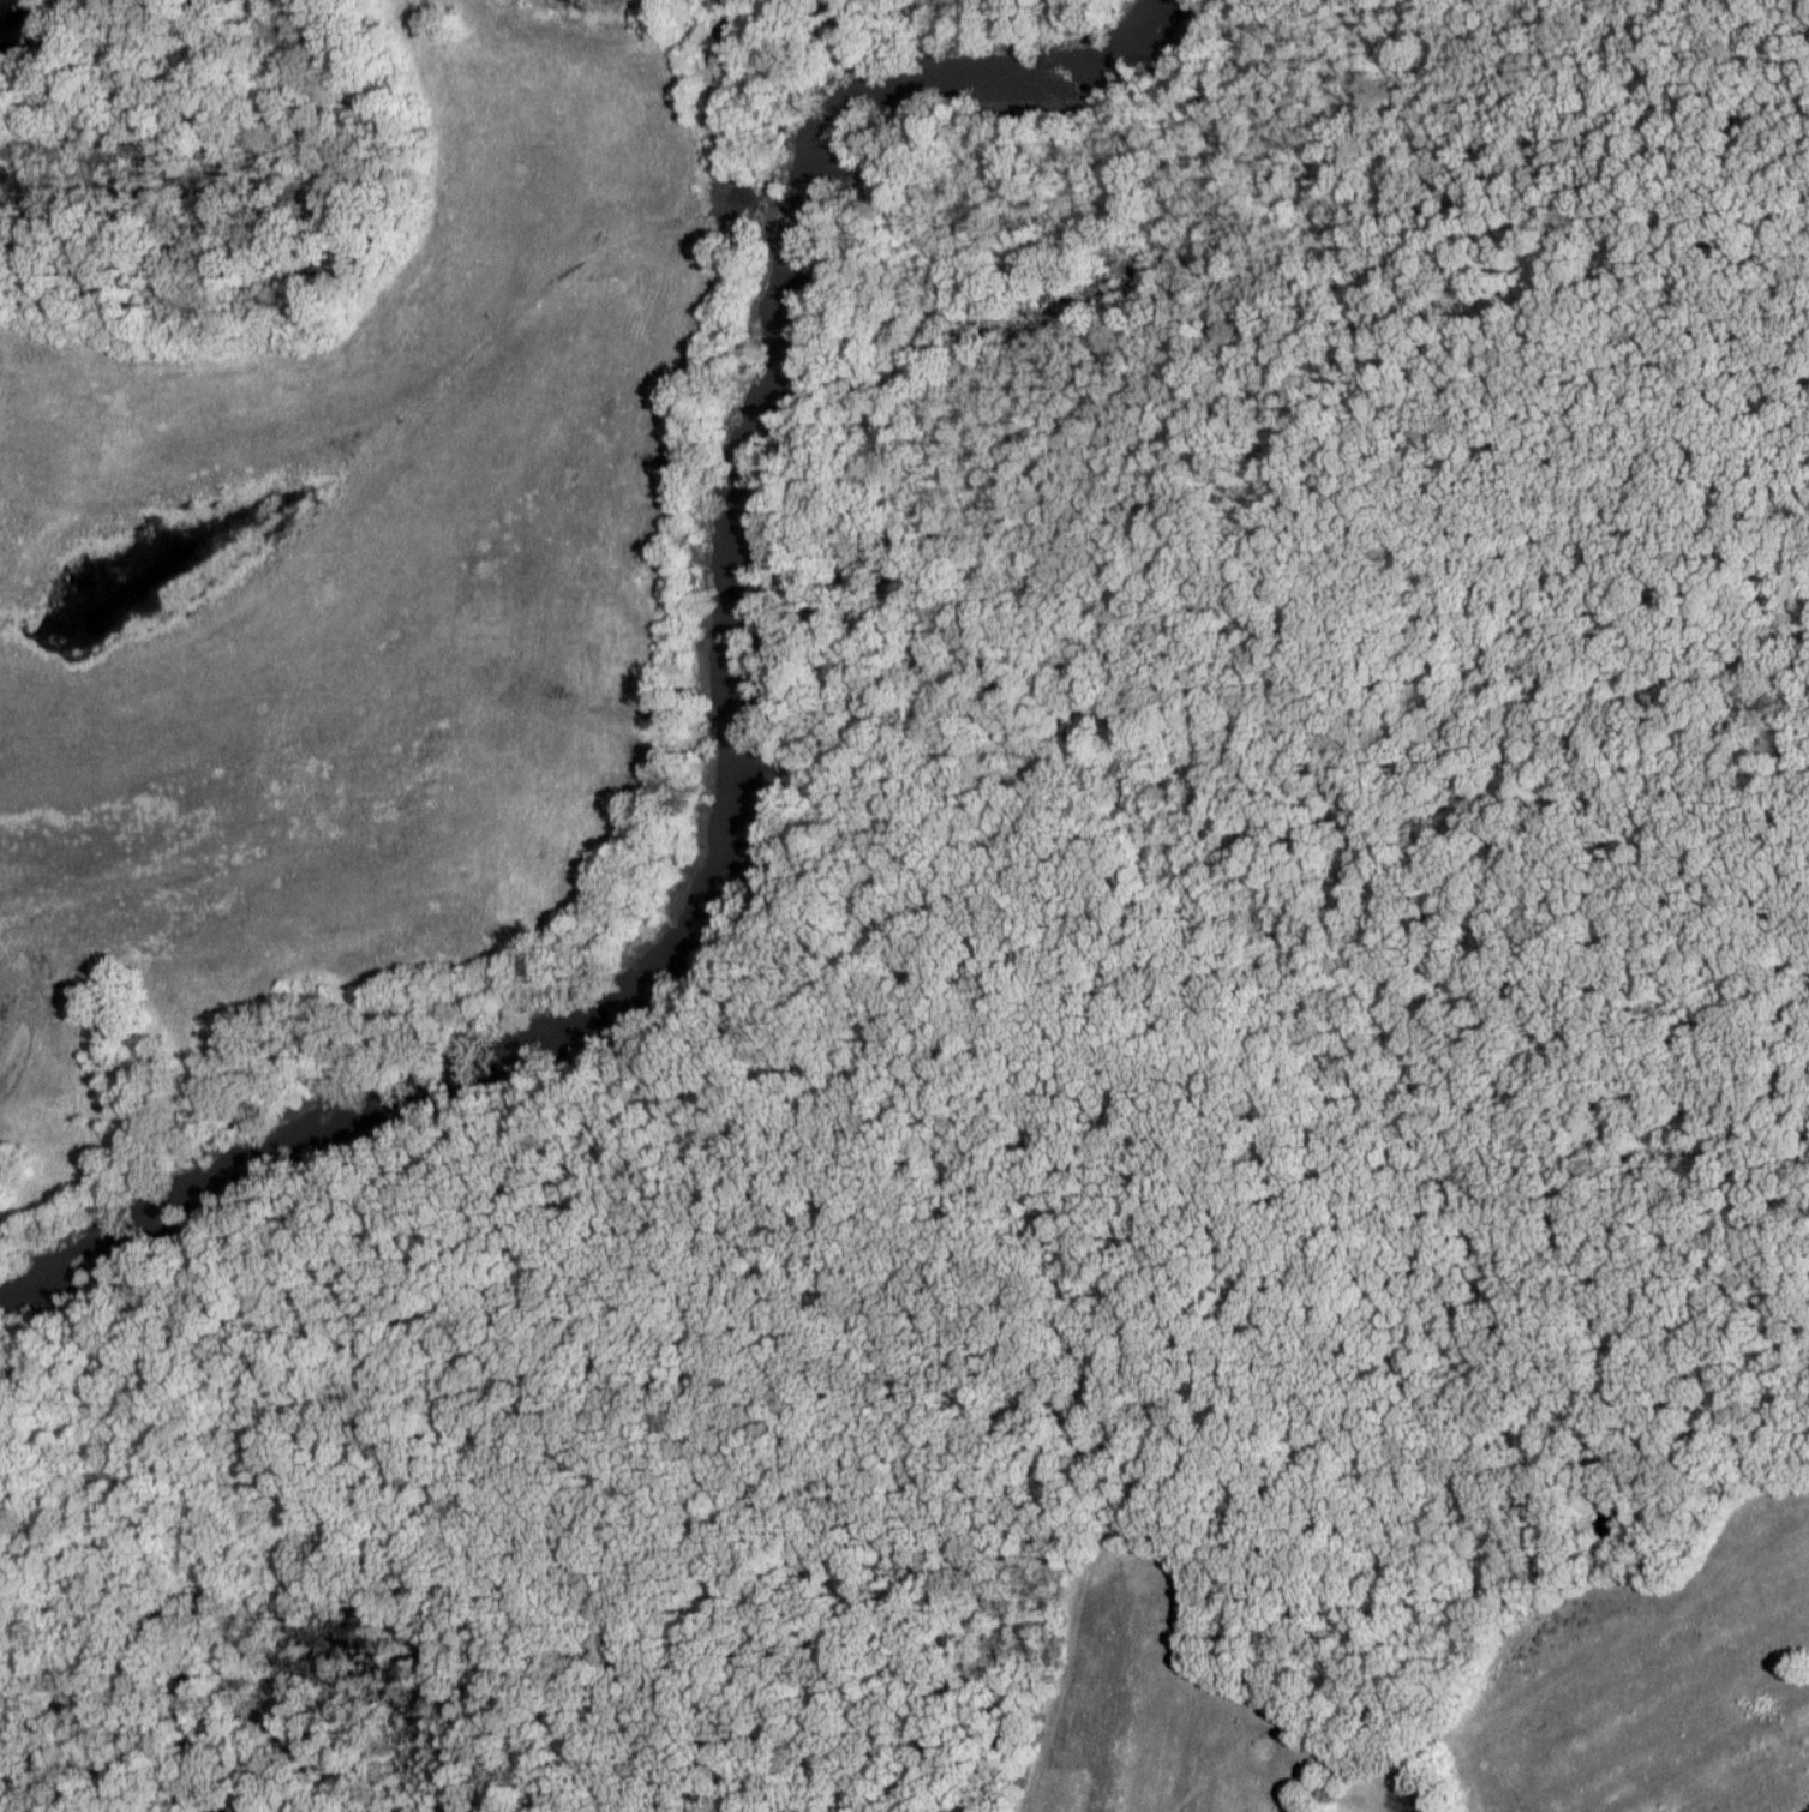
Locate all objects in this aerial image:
road: (1527, 1669)

